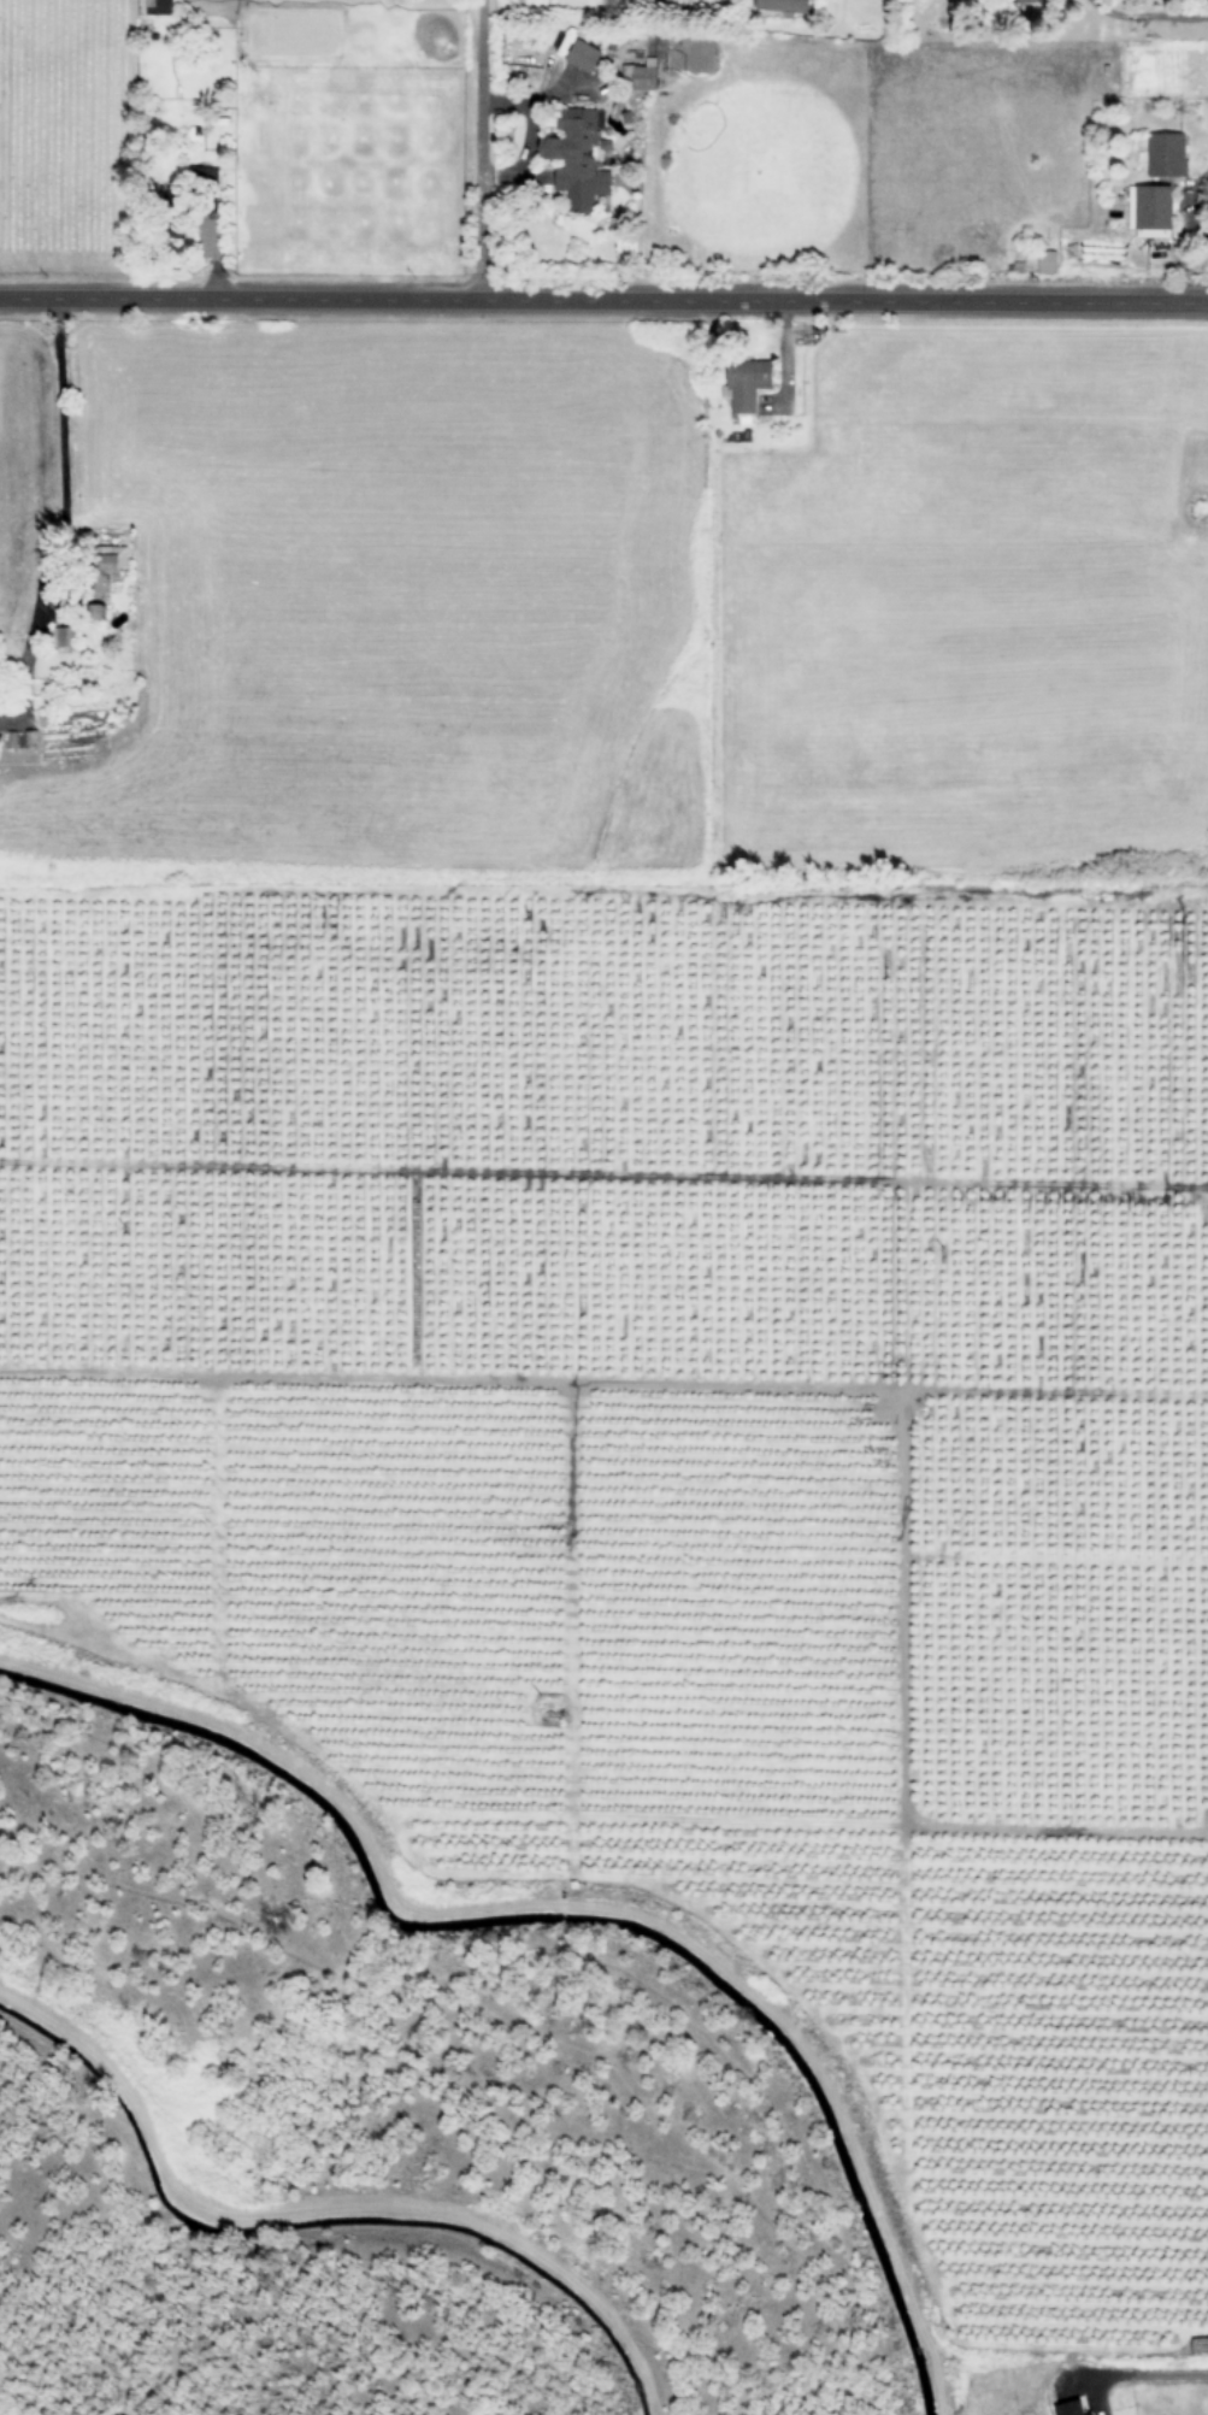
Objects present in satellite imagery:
building: (1021, 1)
building: (784, 6)
building: (158, 7)
building: (583, 55)
building: (640, 76)
road: (485, 149)
building: (1166, 154)
building: (574, 159)
building: (208, 178)
building: (1149, 211)
building: (1045, 261)
road: (603, 300)
building: (746, 388)
building: (107, 575)
building: (58, 637)
road: (319, 2211)
building: (1069, 2408)
building: (1091, 2414)

